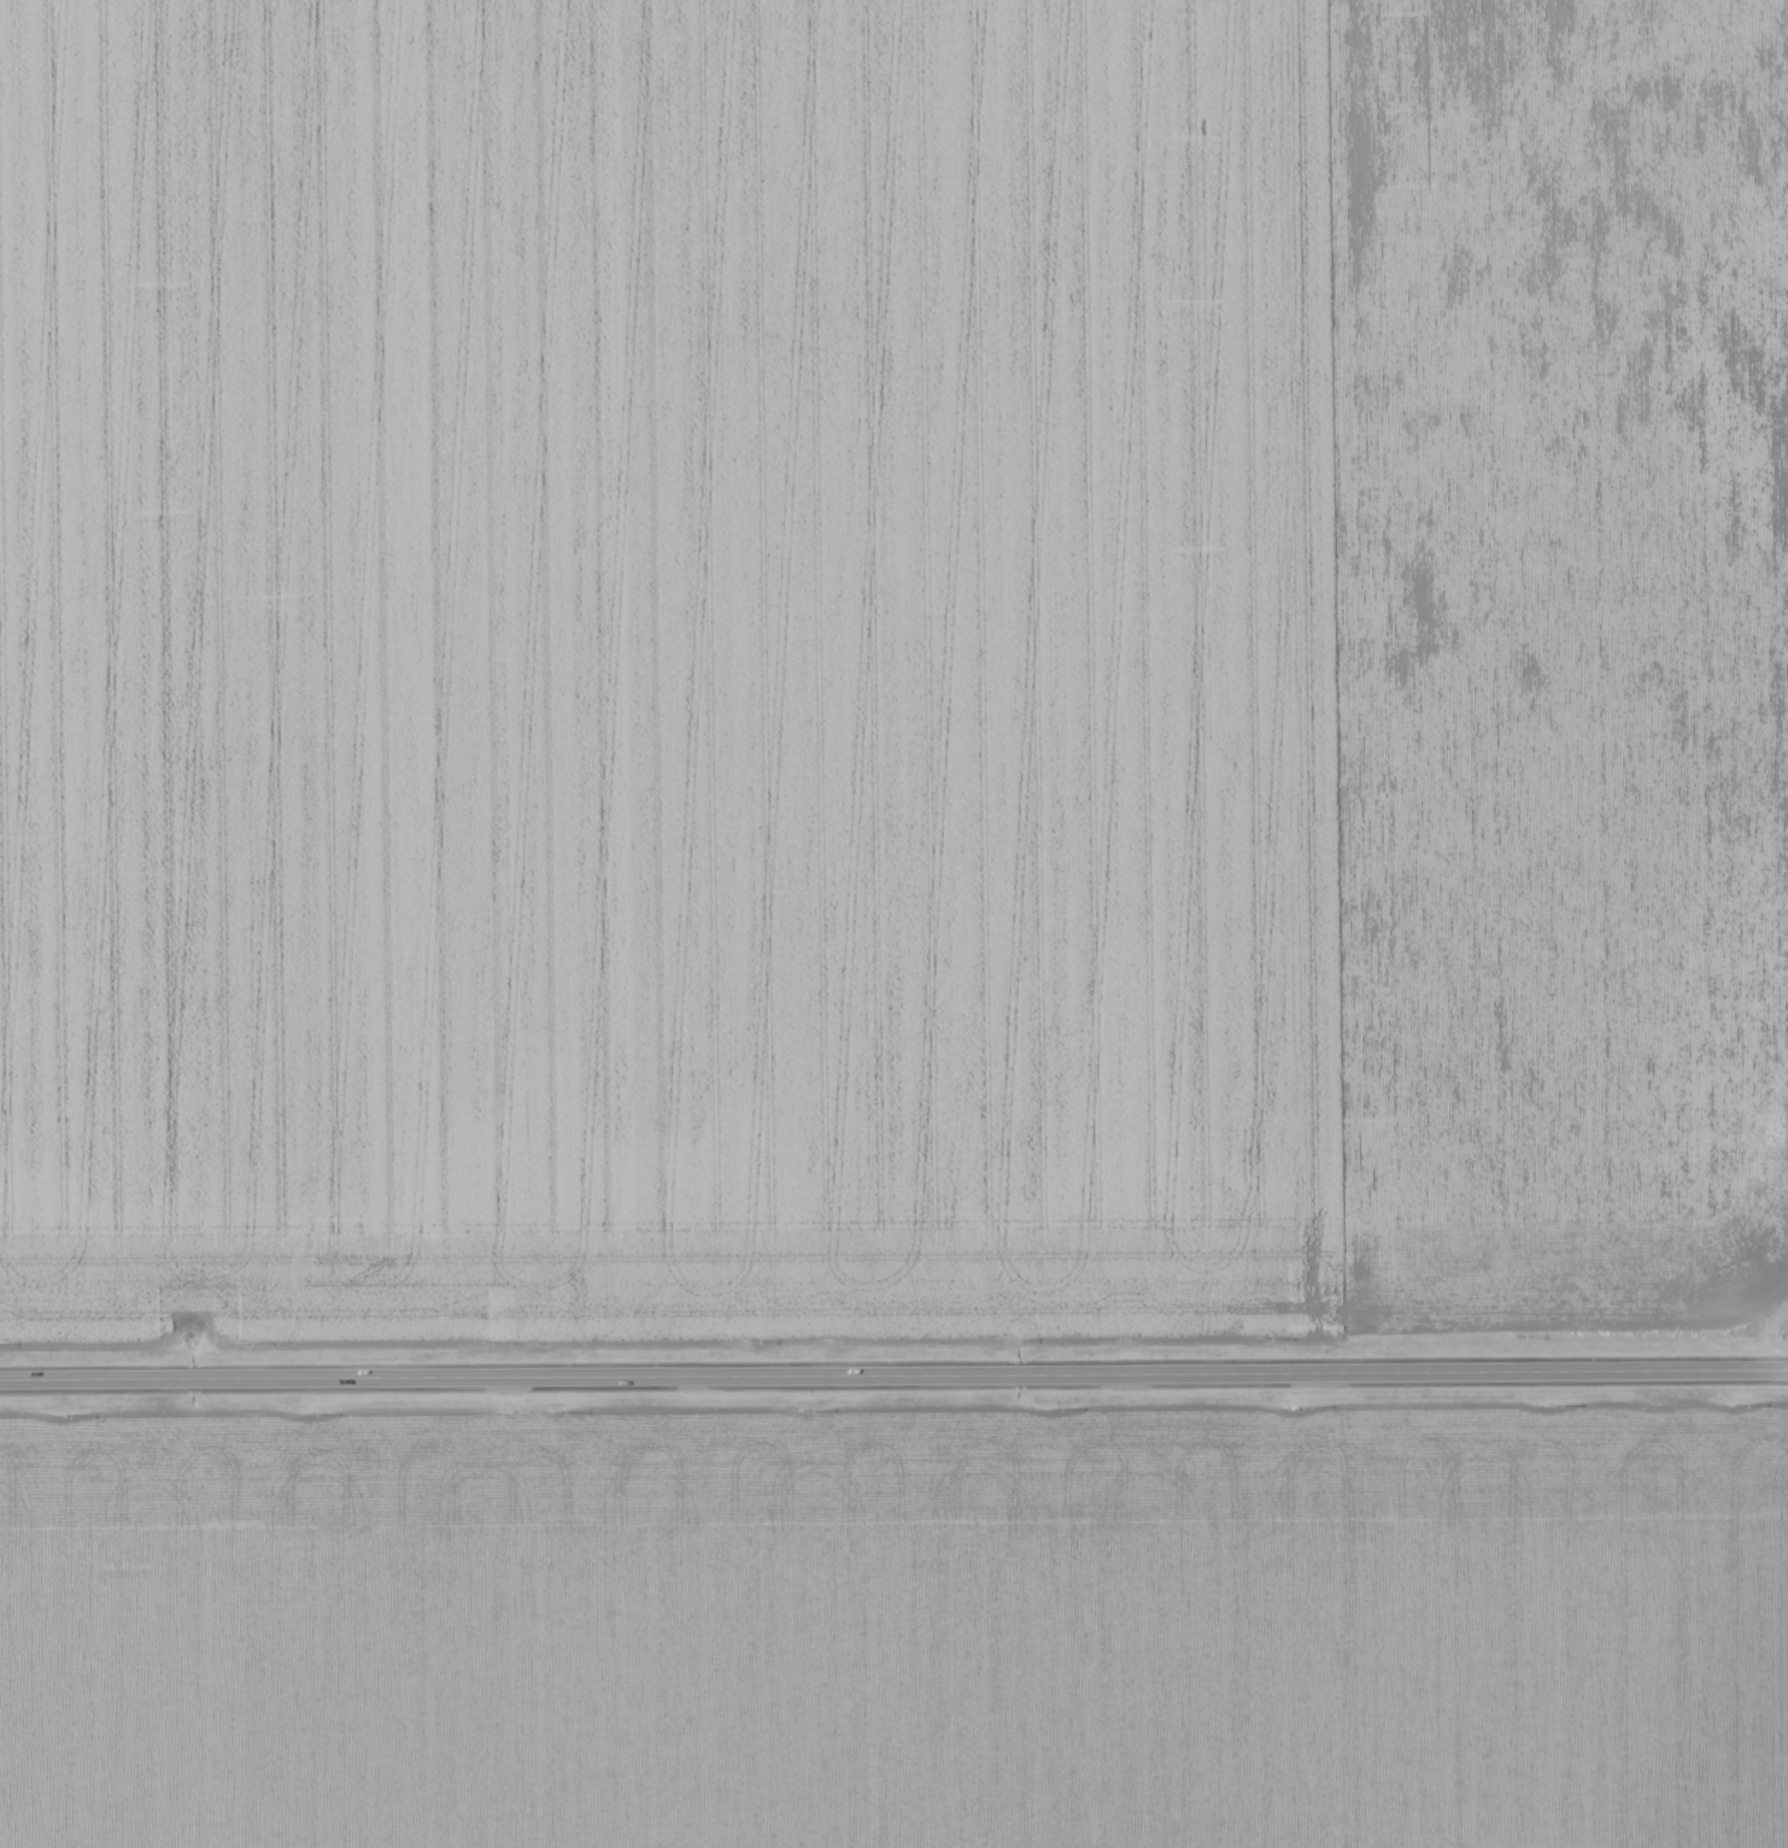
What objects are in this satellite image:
road: (893, 1375)

